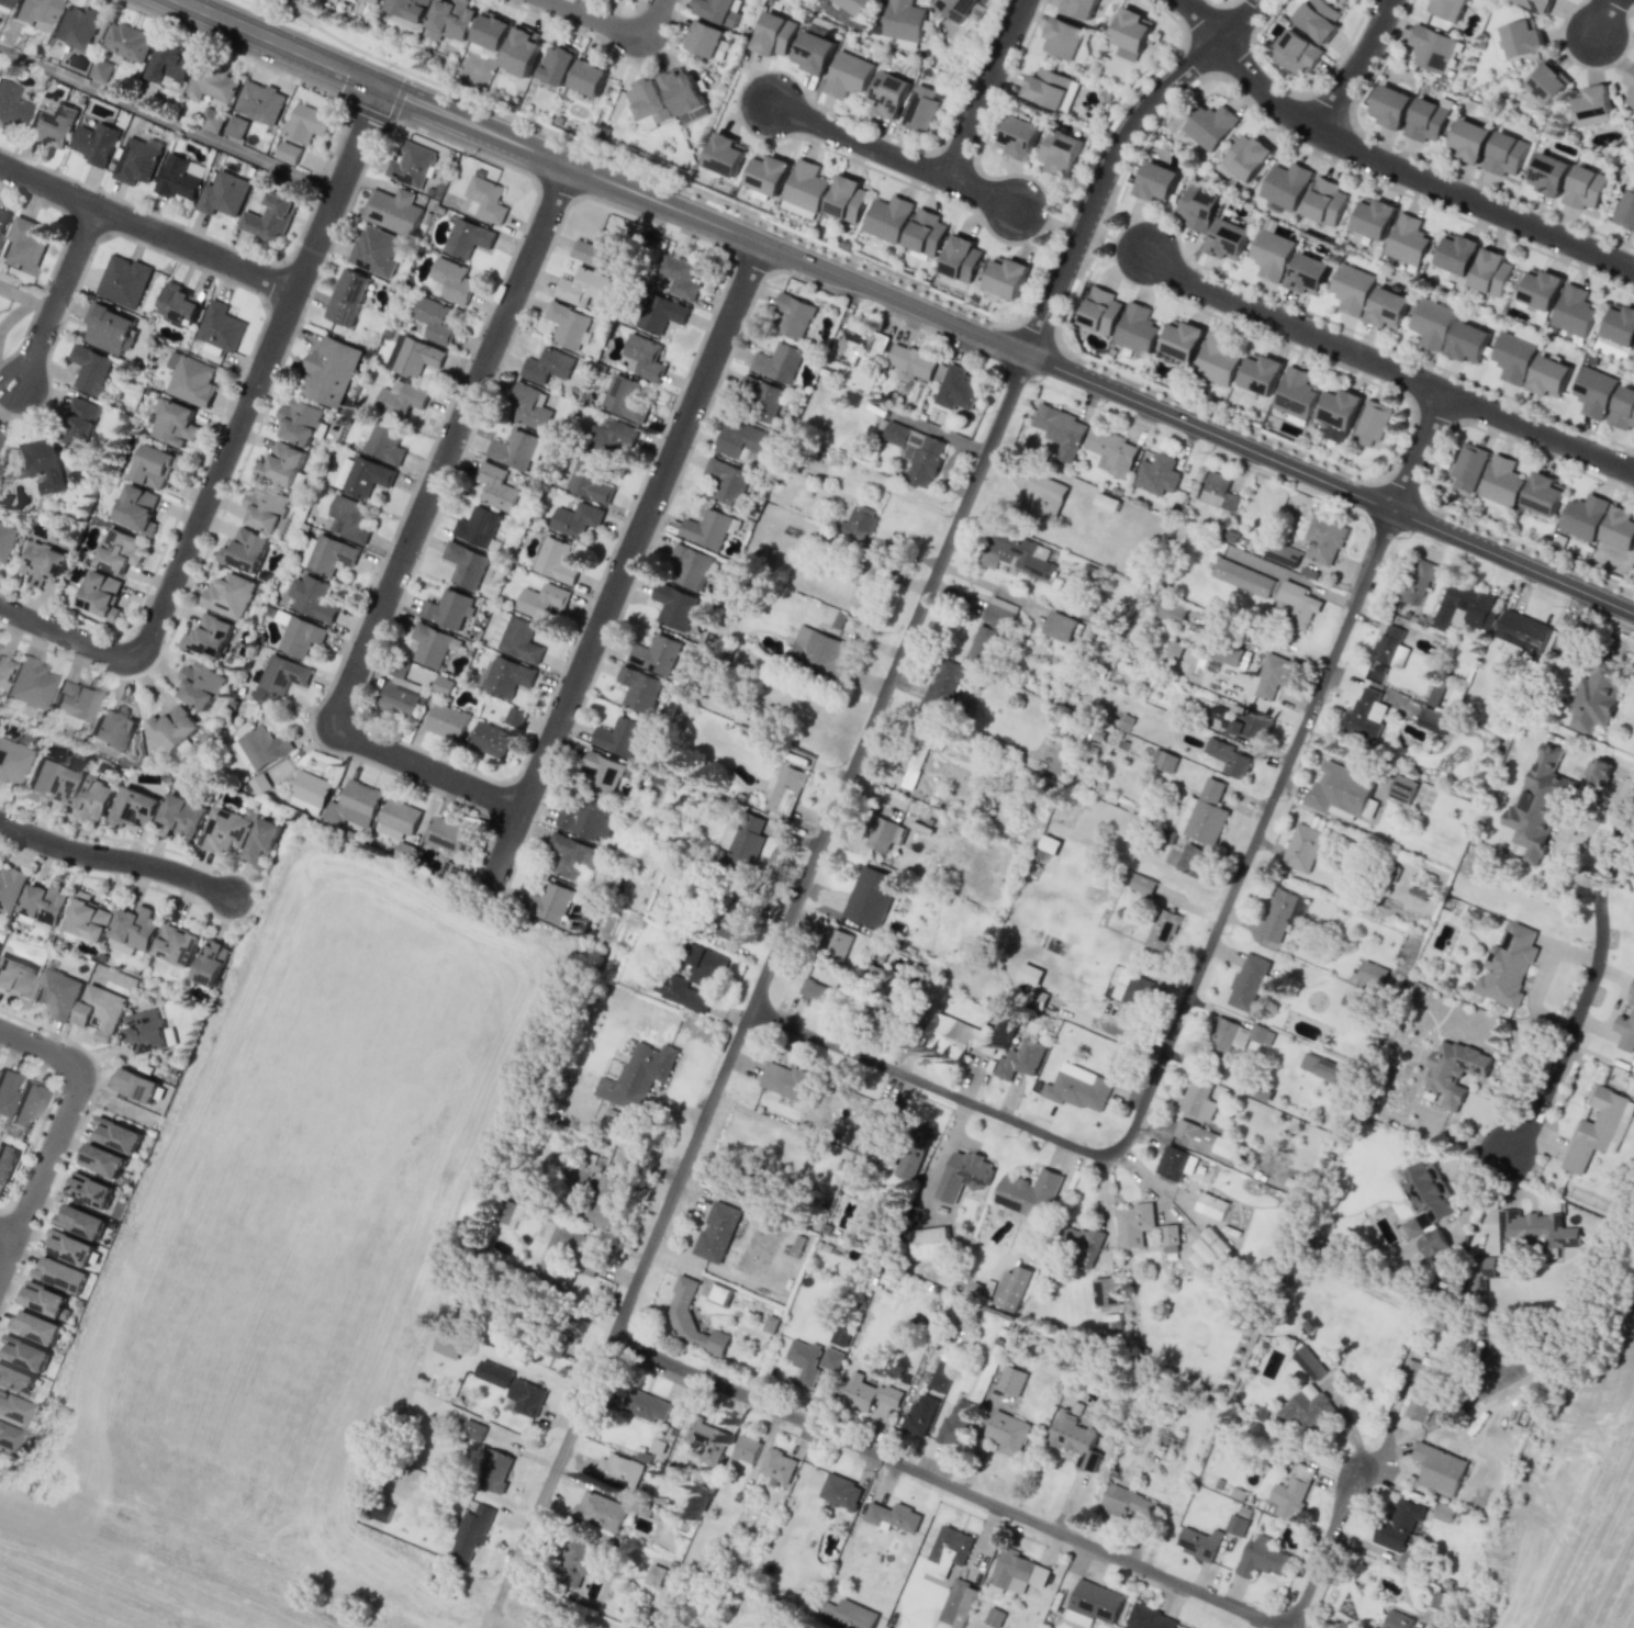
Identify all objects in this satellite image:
building: (374, 1)
building: (2, 2)
building: (1536, 4)
building: (857, 5)
building: (408, 8)
building: (955, 8)
building: (1079, 8)
building: (1448, 9)
building: (719, 10)
building: (33, 12)
road: (585, 15)
road: (1601, 15)
building: (1316, 16)
building: (449, 20)
building: (904, 24)
building: (75, 27)
road: (649, 27)
building: (1131, 30)
building: (490, 34)
building: (775, 34)
building: (1064, 37)
building: (1522, 37)
building: (705, 38)
building: (127, 41)
building: (1432, 48)
building: (521, 50)
building: (1296, 52)
building: (814, 53)
building: (557, 64)
road: (1355, 64)
building: (170, 66)
street lamp: (388, 66)
street lamp: (1579, 67)
building: (101, 70)
building: (849, 75)
building: (587, 77)
building: (211, 82)
building: (1547, 82)
building: (1631, 83)
road: (984, 89)
building: (1051, 89)
building: (888, 93)
building: (684, 96)
building: (259, 102)
building: (648, 102)
building: (11, 105)
building: (1594, 105)
building: (1390, 106)
building: (921, 109)
road: (167, 120)
building: (211, 120)
building: (1426, 121)
building: (306, 123)
street lamp: (402, 125)
building: (52, 126)
building: (236, 126)
building: (1209, 126)
building: (1018, 137)
building: (1470, 141)
building: (94, 143)
street lamp: (577, 144)
building: (288, 153)
building: (1060, 153)
building: (1506, 154)
building: (725, 155)
road: (891, 155)
road: (1109, 156)
building: (1246, 157)
building: (136, 161)
building: (411, 165)
road: (1387, 166)
building: (766, 173)
street lamp: (1029, 173)
building: (1549, 173)
building: (179, 177)
road: (602, 178)
building: (1156, 181)
building: (1285, 186)
street lamp: (924, 187)
building: (1585, 188)
building: (804, 189)
building: (223, 194)
building: (484, 199)
building: (847, 199)
building: (1327, 202)
building: (1198, 207)
building: (1625, 207)
building: (392, 210)
street lamp: (1068, 213)
road: (1038, 217)
building: (1374, 217)
building: (2, 218)
building: (269, 218)
building: (887, 218)
road: (146, 227)
building: (926, 234)
street lamp: (791, 235)
building: (467, 238)
building: (1228, 239)
building: (1408, 240)
road: (1123, 243)
building: (23, 246)
building: (597, 249)
building: (376, 250)
building: (1457, 252)
building: (1272, 254)
building: (961, 258)
building: (1490, 272)
building: (1308, 274)
building: (679, 276)
building: (1006, 277)
building: (124, 281)
building: (450, 281)
street lamp: (1234, 282)
street lamp: (1130, 285)
building: (582, 287)
building: (1352, 288)
building: (1540, 290)
road: (56, 295)
building: (346, 297)
building: (179, 304)
building: (1388, 308)
street lamp: (965, 310)
building: (1100, 311)
building: (1574, 311)
building: (661, 314)
building: (792, 315)
street lamp: (1061, 315)
building: (434, 319)
building: (1433, 323)
building: (567, 325)
building: (1620, 325)
road: (1290, 326)
building: (220, 327)
building: (109, 328)
building: (1137, 329)
building: (1180, 340)
building: (1468, 343)
building: (858, 348)
building: (413, 356)
building: (643, 357)
building: (1513, 357)
building: (1633, 358)
building: (1217, 359)
building: (910, 361)
building: (777, 362)
street lamp: (1333, 363)
building: (548, 366)
building: (91, 369)
building: (331, 370)
building: (1261, 374)
building: (1548, 377)
building: (191, 379)
street lamp: (1138, 383)
building: (954, 386)
building: (1593, 391)
building: (1296, 395)
building: (760, 397)
building: (401, 398)
building: (624, 398)
building: (531, 406)
building: (1623, 408)
building: (1339, 413)
building: (300, 420)
building: (80, 422)
building: (1372, 424)
building: (175, 425)
building: (1060, 430)
road: (1537, 431)
building: (609, 436)
road: (230, 440)
building: (382, 441)
building: (741, 441)
building: (514, 449)
road: (1418, 450)
building: (1111, 451)
street lamp: (1297, 451)
building: (916, 452)
building: (283, 463)
building: (41, 464)
building: (153, 465)
building: (1468, 467)
building: (362, 475)
building: (1156, 475)
building: (590, 480)
building: (726, 481)
building: (1501, 481)
road: (1330, 483)
building: (496, 486)
building: (1218, 491)
building: (1543, 494)
building: (1041, 498)
building: (266, 508)
building: (137, 509)
building: (1582, 517)
building: (348, 519)
building: (577, 519)
building: (858, 523)
street lamp: (1464, 523)
building: (477, 527)
building: (1620, 528)
building: (706, 529)
building: (1324, 539)
road: (410, 540)
building: (7, 541)
building: (246, 549)
building: (117, 551)
building: (326, 554)
building: (1016, 554)
building: (1282, 554)
building: (556, 561)
building: (43, 564)
building: (465, 564)
building: (690, 565)
road: (623, 569)
street lamp: (1581, 573)
road: (1345, 574)
building: (1242, 577)
building: (1415, 582)
building: (865, 583)
building: (100, 595)
building: (228, 595)
building: (312, 597)
building: (541, 600)
building: (1298, 604)
building: (673, 606)
building: (1465, 607)
building: (448, 609)
building: (1060, 626)
building: (989, 631)
building: (1521, 631)
building: (210, 636)
building: (300, 636)
building: (433, 644)
building: (0, 647)
building: (1390, 647)
building: (1173, 651)
building: (817, 652)
building: (1228, 653)
building: (657, 654)
building: (2, 670)
building: (504, 676)
building: (1272, 676)
building: (279, 677)
building: (29, 683)
building: (200, 685)
building: (443, 685)
building: (944, 685)
building: (638, 688)
building: (1436, 695)
building: (1594, 698)
building: (399, 700)
building: (70, 701)
building: (1365, 715)
building: (514, 717)
building: (1433, 719)
building: (447, 721)
building: (1242, 723)
building: (172, 727)
building: (112, 728)
building: (618, 736)
building: (490, 739)
building: (259, 748)
building: (917, 754)
building: (1228, 757)
building: (11, 761)
building: (1057, 762)
building: (1599, 771)
building: (601, 773)
building: (45, 782)
building: (259, 784)
building: (784, 789)
building: (1340, 789)
building: (1401, 789)
building: (309, 791)
building: (89, 798)
building: (354, 805)
building: (1537, 806)
building: (135, 808)
building: (1207, 813)
building: (183, 815)
building: (399, 818)
building: (587, 820)
building: (225, 830)
building: (445, 834)
building: (881, 834)
building: (262, 841)
building: (743, 841)
building: (1049, 843)
building: (1303, 843)
building: (572, 855)
road: (115, 860)
building: (1193, 861)
building: (1142, 884)
building: (10, 887)
building: (871, 896)
building: (549, 902)
building: (44, 903)
building: (1277, 914)
building: (734, 916)
building: (88, 918)
building: (135, 927)
building: (1162, 930)
building: (177, 944)
building: (836, 944)
building: (212, 963)
building: (704, 965)
building: (1507, 966)
road: (766, 968)
building: (1372, 973)
building: (1029, 974)
road: (1540, 977)
building: (15, 979)
building: (1247, 981)
road: (1587, 984)
building: (1132, 989)
building: (681, 992)
building: (815, 992)
building: (57, 993)
building: (101, 1010)
road: (1179, 1013)
building: (1626, 1029)
building: (147, 1032)
building: (1232, 1035)
building: (962, 1037)
road: (42, 1047)
building: (1019, 1059)
building: (1320, 1066)
street lamp: (98, 1068)
building: (1452, 1073)
building: (637, 1076)
building: (791, 1082)
building: (136, 1085)
building: (1077, 1088)
building: (5, 1090)
building: (1256, 1092)
building: (1198, 1099)
building: (24, 1105)
park: (124, 1109)
building: (1624, 1119)
building: (869, 1127)
building: (1594, 1129)
building: (116, 1135)
building: (1204, 1138)
street lamp: (34, 1146)
building: (102, 1160)
building: (1175, 1163)
building: (5, 1164)
road: (40, 1174)
building: (963, 1175)
building: (582, 1176)
building: (90, 1190)
building: (1429, 1190)
building: (1028, 1193)
building: (1211, 1205)
building: (80, 1221)
building: (1133, 1224)
building: (1412, 1227)
building: (719, 1231)
road: (7, 1233)
building: (1169, 1234)
building: (1532, 1235)
building: (1432, 1242)
building: (1082, 1243)
building: (557, 1244)
building: (930, 1244)
street lamp: (29, 1246)
building: (68, 1247)
building: (1208, 1248)
road: (8, 1266)
building: (1481, 1271)
building: (59, 1275)
building: (1016, 1288)
building: (1106, 1292)
building: (770, 1324)
building: (35, 1327)
building: (839, 1337)
building: (448, 1345)
building: (24, 1352)
building: (830, 1359)
building: (804, 1360)
building: (1309, 1362)
building: (493, 1373)
building: (941, 1377)
building: (15, 1380)
building: (1010, 1380)
building: (1417, 1390)
building: (866, 1392)
building: (525, 1397)
building: (646, 1405)
building: (1306, 1407)
building: (11, 1410)
building: (919, 1415)
building: (1522, 1418)
building: (955, 1423)
building: (472, 1430)
building: (1007, 1433)
building: (5, 1437)
building: (707, 1440)
building: (1077, 1440)
building: (745, 1450)
building: (776, 1467)
building: (1439, 1469)
building: (618, 1470)
building: (494, 1471)
road: (948, 1482)
building: (840, 1491)
building: (1288, 1497)
building: (1127, 1504)
building: (600, 1512)
building: (1443, 1512)
building: (892, 1516)
building: (1235, 1525)
building: (1398, 1525)
building: (471, 1531)
building: (1198, 1542)
building: (948, 1551)
road: (1323, 1551)
building: (1263, 1559)
building: (1016, 1573)
crop: (97, 1586)
building: (956, 1601)
building: (1084, 1601)
road: (494, 1605)
building: (848, 1614)
building: (994, 1618)
building: (1148, 1618)
building: (1402, 1621)
road: (491, 1626)

